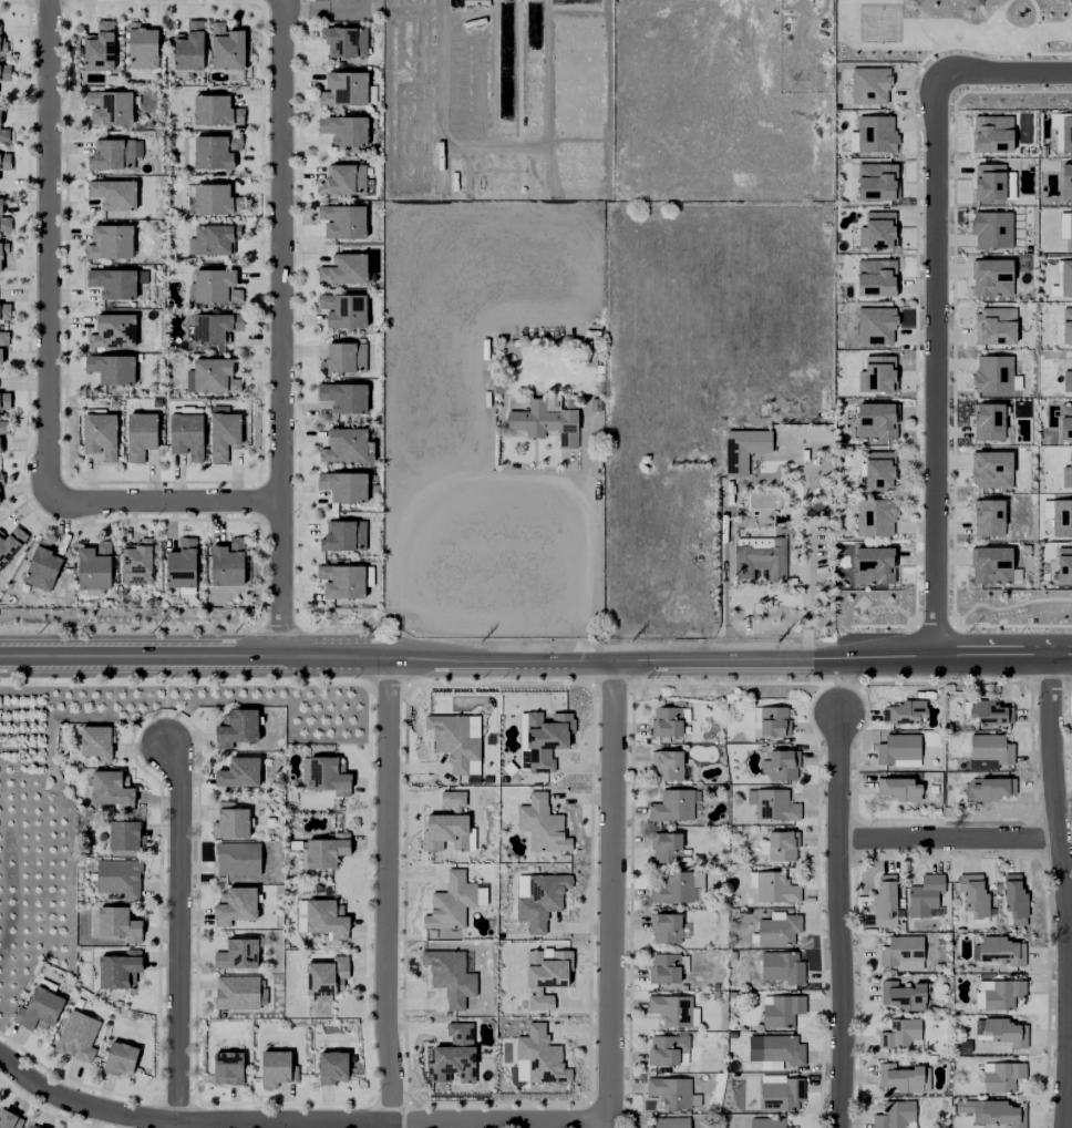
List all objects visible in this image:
road: (897, 1)
building: (973, 2)
parking lot: (347, 9)
road: (320, 11)
road: (981, 11)
road: (959, 22)
park: (878, 23)
road: (1032, 25)
park: (951, 30)
road: (925, 37)
building: (344, 42)
building: (3, 47)
building: (189, 48)
building: (100, 49)
building: (142, 49)
building: (226, 49)
road: (993, 54)
road: (1003, 71)
building: (6, 73)
road: (495, 73)
building: (869, 85)
building: (344, 90)
building: (110, 106)
building: (216, 111)
building: (344, 131)
building: (875, 134)
building: (1065, 134)
building: (4, 135)
building: (993, 140)
road: (494, 147)
building: (215, 152)
building: (111, 156)
building: (6, 162)
building: (1065, 176)
building: (343, 180)
building: (877, 182)
building: (991, 185)
building: (518, 189)
building: (113, 194)
building: (216, 201)
building: (4, 221)
building: (343, 222)
building: (1069, 227)
building: (991, 228)
building: (877, 229)
building: (214, 239)
building: (109, 243)
road: (48, 249)
building: (3, 252)
building: (343, 269)
building: (876, 278)
building: (993, 278)
building: (1065, 278)
building: (113, 283)
building: (216, 287)
building: (343, 310)
building: (4, 312)
building: (876, 325)
building: (997, 326)
building: (1065, 327)
road: (278, 328)
building: (216, 329)
building: (113, 332)
building: (3, 338)
building: (1, 357)
road: (298, 359)
building: (343, 359)
road: (935, 366)
building: (112, 369)
building: (992, 373)
building: (876, 376)
building: (212, 377)
building: (1068, 378)
building: (344, 397)
building: (4, 402)
building: (111, 403)
building: (542, 417)
building: (877, 421)
building: (1064, 421)
building: (989, 422)
building: (3, 428)
building: (101, 435)
building: (186, 435)
building: (224, 435)
building: (141, 437)
building: (741, 444)
building: (346, 447)
road: (535, 461)
road: (549, 466)
building: (880, 470)
building: (992, 470)
building: (1066, 474)
road: (497, 478)
building: (1, 481)
building: (343, 486)
road: (163, 500)
building: (876, 517)
building: (989, 517)
building: (1061, 519)
building: (344, 536)
building: (10, 544)
road: (804, 554)
building: (760, 555)
building: (136, 562)
building: (227, 564)
building: (42, 566)
building: (182, 566)
building: (874, 566)
building: (992, 566)
building: (94, 567)
building: (1063, 570)
building: (342, 582)
road: (298, 594)
road: (722, 604)
road: (1006, 606)
road: (893, 607)
park: (874, 611)
park: (1010, 611)
road: (880, 626)
road: (1011, 626)
road: (932, 627)
road: (141, 655)
road: (333, 655)
road: (608, 663)
road: (951, 663)
building: (1070, 704)
building: (903, 714)
building: (983, 714)
building: (765, 720)
building: (664, 721)
building: (236, 729)
building: (546, 738)
building: (487, 739)
building: (454, 741)
building: (96, 742)
building: (895, 750)
building: (983, 751)
building: (775, 763)
building: (661, 766)
building: (239, 773)
building: (327, 777)
building: (485, 779)
building: (502, 779)
building: (986, 788)
building: (894, 789)
building: (111, 791)
building: (769, 804)
building: (668, 806)
building: (230, 822)
building: (447, 824)
building: (542, 824)
building: (125, 838)
road: (946, 839)
building: (292, 844)
building: (777, 844)
building: (661, 847)
building: (327, 851)
building: (238, 859)
building: (118, 878)
building: (673, 888)
building: (771, 888)
road: (383, 891)
road: (615, 894)
building: (921, 894)
road: (1060, 894)
building: (970, 896)
building: (1009, 896)
building: (542, 900)
building: (880, 901)
building: (451, 903)
building: (235, 906)
building: (299, 916)
building: (326, 919)
road: (837, 922)
building: (118, 924)
building: (663, 927)
building: (774, 930)
road: (178, 934)
building: (446, 936)
building: (999, 950)
building: (899, 953)
building: (730, 955)
building: (237, 956)
building: (661, 967)
building: (776, 967)
building: (120, 970)
building: (450, 976)
building: (546, 976)
building: (326, 977)
building: (713, 986)
building: (237, 992)
building: (997, 994)
building: (729, 995)
building: (898, 996)
building: (669, 1011)
building: (38, 1012)
building: (777, 1012)
building: (997, 1032)
building: (729, 1035)
building: (898, 1035)
building: (76, 1036)
building: (659, 1049)
building: (777, 1049)
building: (454, 1056)
building: (540, 1056)
building: (121, 1060)
building: (228, 1068)
building: (332, 1068)
building: (277, 1069)
building: (520, 1071)
building: (998, 1076)
building: (891, 1079)
building: (666, 1091)
building: (777, 1095)
building: (693, 1100)
building: (996, 1114)
building: (891, 1116)
building: (9, 1120)
road: (187, 1121)
building: (668, 1122)
building: (762, 1122)
building: (33, 1126)
road: (501, 1127)
road: (610, 1127)
building: (791, 1127)

